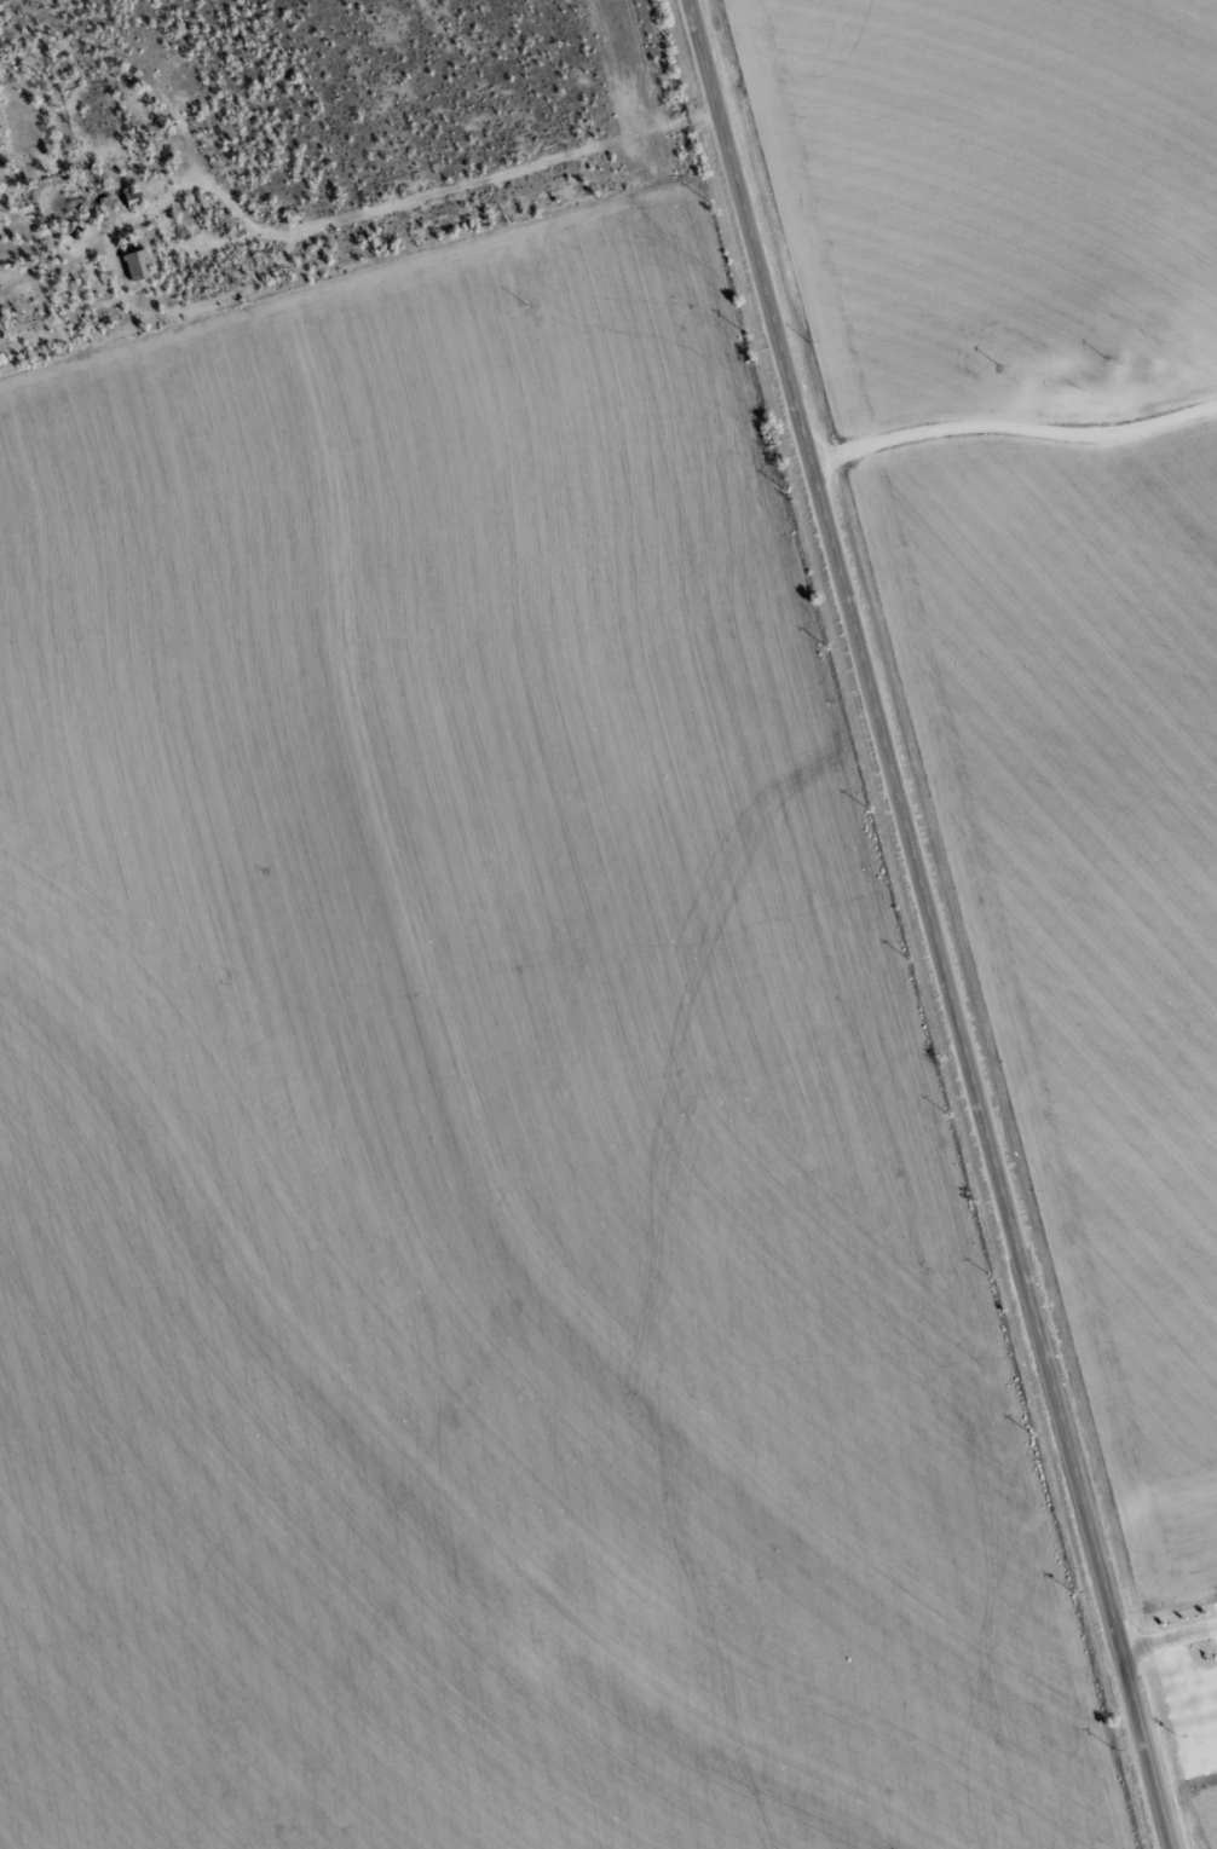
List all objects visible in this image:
building: (137, 265)
road: (930, 924)

